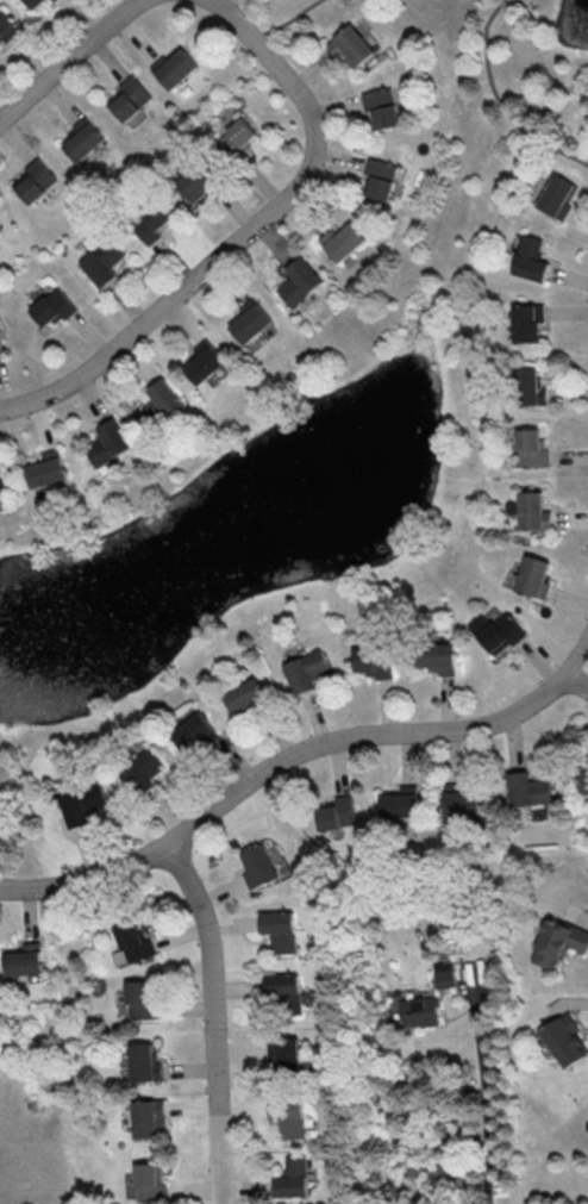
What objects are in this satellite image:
building: (52, 0)
building: (35, 2)
road: (288, 21)
building: (5, 25)
building: (351, 45)
road: (70, 60)
building: (176, 68)
building: (196, 77)
building: (130, 98)
road: (499, 104)
building: (382, 107)
building: (82, 138)
building: (237, 138)
building: (381, 177)
building: (36, 180)
building: (196, 181)
building: (557, 195)
building: (151, 223)
building: (0, 230)
road: (245, 236)
building: (343, 241)
building: (102, 257)
building: (530, 258)
building: (299, 281)
building: (52, 307)
building: (250, 320)
building: (526, 322)
building: (0, 348)
building: (204, 361)
building: (530, 387)
building: (159, 404)
building: (107, 442)
building: (530, 448)
building: (46, 468)
building: (1, 484)
building: (532, 511)
building: (533, 576)
building: (496, 632)
building: (437, 657)
building: (374, 660)
building: (306, 670)
road: (577, 678)
building: (244, 694)
building: (194, 732)
road: (294, 757)
building: (143, 769)
building: (583, 780)
building: (527, 788)
building: (463, 799)
building: (400, 801)
building: (83, 803)
building: (337, 813)
building: (259, 865)
building: (280, 929)
building: (557, 942)
building: (132, 944)
building: (24, 959)
building: (444, 973)
building: (282, 987)
building: (142, 999)
building: (420, 1011)
road: (214, 1019)
building: (564, 1040)
building: (293, 1053)
building: (144, 1061)
road: (483, 1100)
building: (289, 1117)
building: (148, 1118)
building: (292, 1177)
building: (149, 1183)

